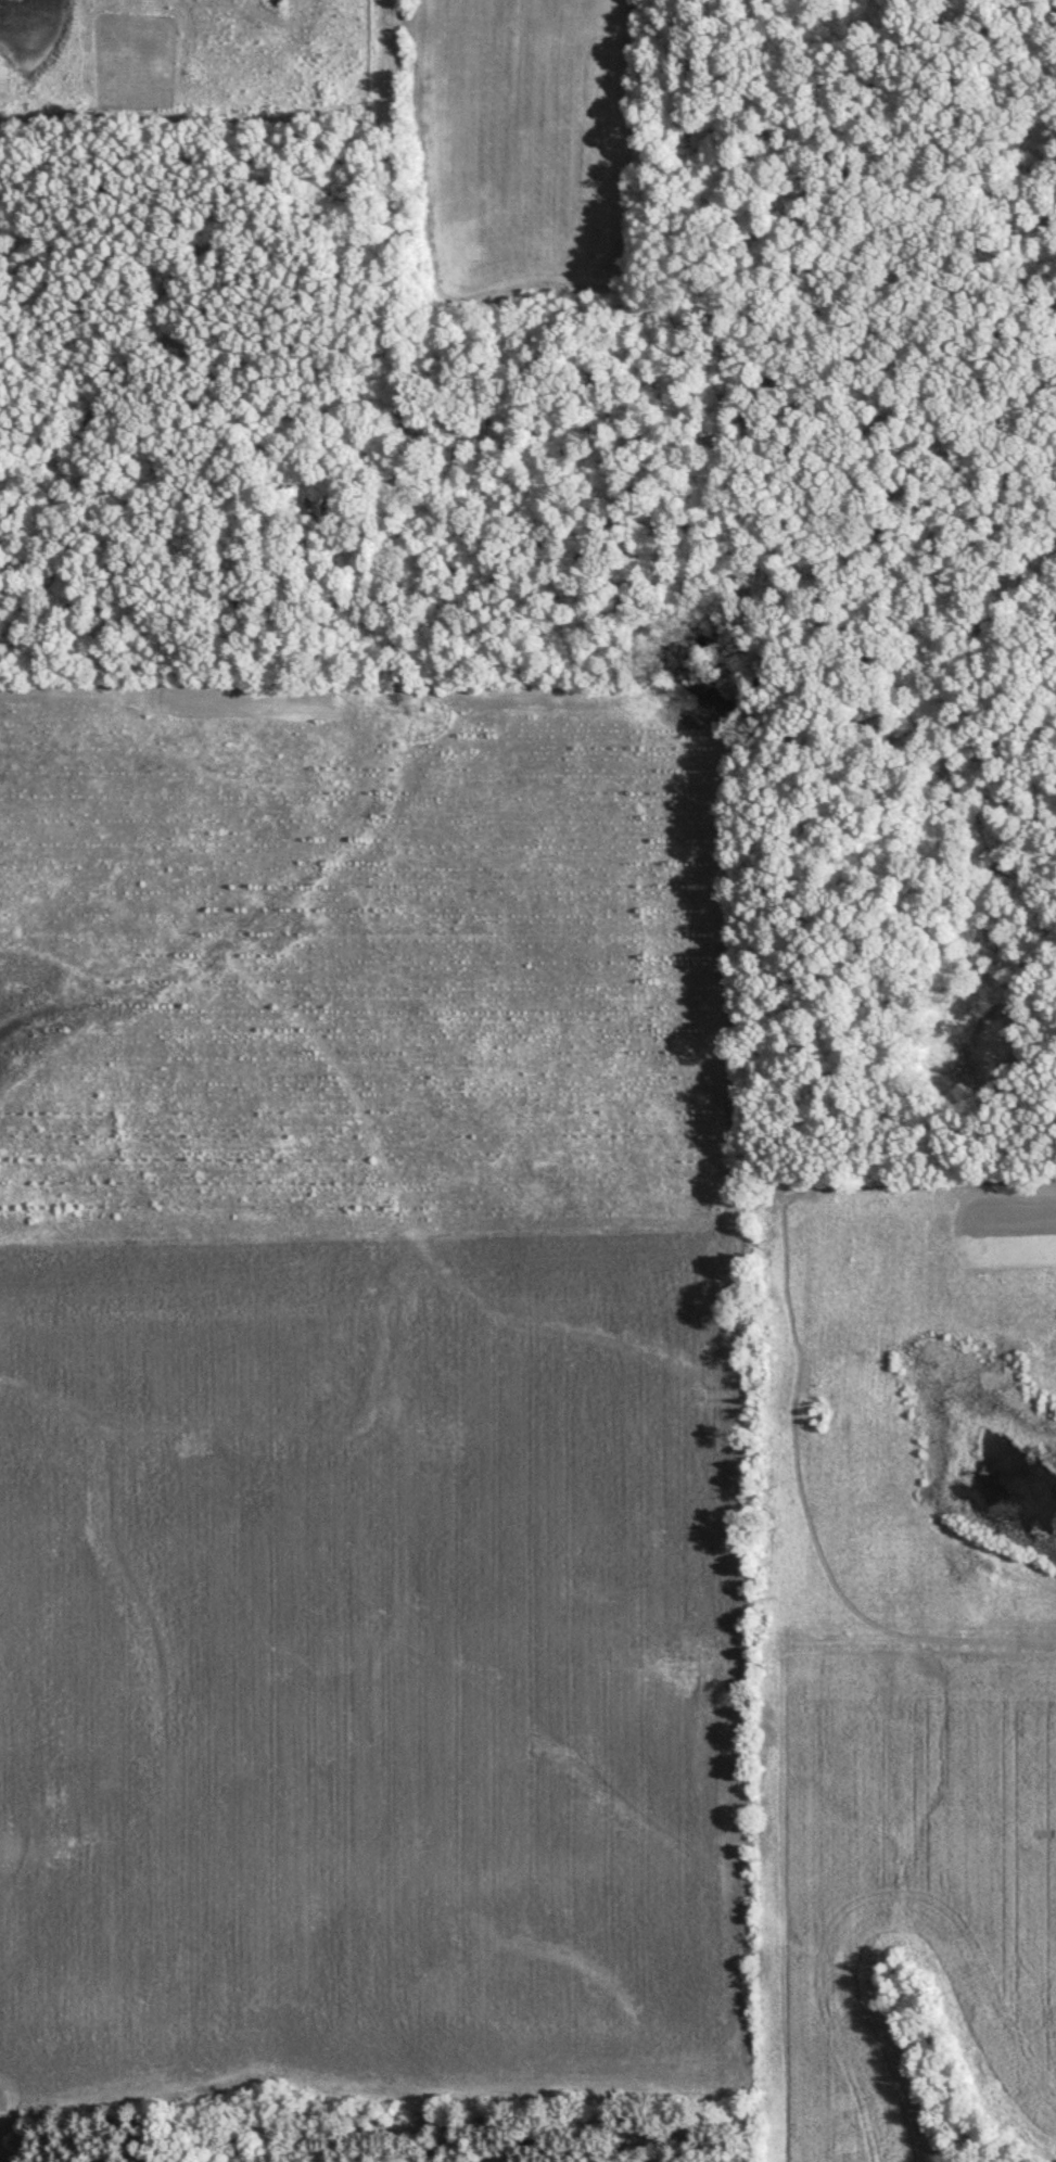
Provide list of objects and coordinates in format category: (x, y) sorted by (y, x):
crop: (368, 1673)
crop: (912, 1880)

